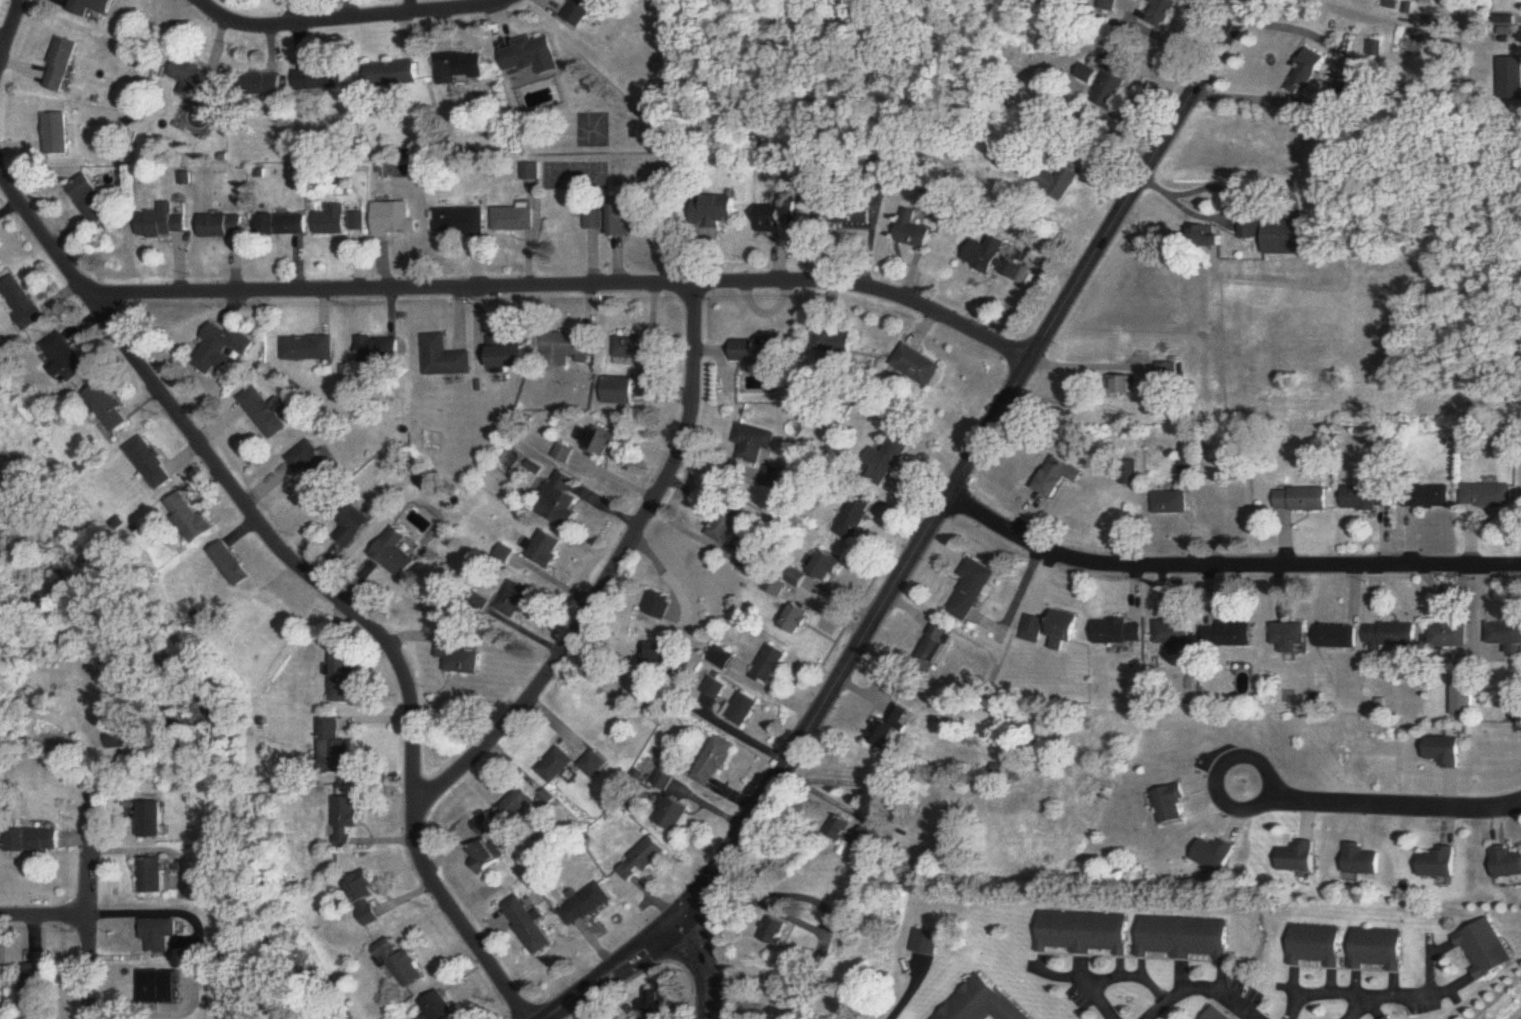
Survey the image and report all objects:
building: (1102, 4)
building: (91, 7)
building: (578, 11)
building: (1160, 12)
road: (351, 19)
road: (9, 25)
road: (1156, 49)
building: (531, 56)
building: (61, 66)
building: (460, 66)
building: (1305, 73)
building: (395, 75)
building: (1086, 75)
building: (194, 79)
building: (1511, 79)
building: (319, 80)
building: (1110, 83)
building: (260, 85)
road: (1332, 86)
building: (56, 135)
building: (1057, 183)
building: (94, 202)
building: (714, 212)
building: (776, 214)
building: (847, 214)
building: (626, 219)
building: (398, 220)
building: (516, 220)
building: (464, 222)
building: (166, 223)
building: (361, 223)
building: (335, 224)
building: (284, 226)
building: (224, 228)
building: (1253, 229)
building: (912, 232)
building: (1291, 237)
building: (1206, 238)
building: (989, 256)
road: (566, 288)
building: (20, 302)
building: (834, 345)
building: (2, 348)
building: (632, 348)
building: (223, 349)
building: (312, 349)
building: (571, 350)
building: (762, 350)
building: (382, 352)
building: (512, 355)
building: (64, 358)
building: (448, 358)
road: (1091, 361)
building: (916, 366)
building: (1169, 374)
building: (1125, 386)
building: (620, 390)
building: (106, 408)
building: (266, 413)
building: (599, 441)
building: (754, 442)
building: (887, 458)
building: (149, 464)
road: (970, 464)
building: (315, 468)
building: (1056, 478)
building: (1129, 480)
building: (1490, 496)
building: (1370, 497)
building: (1430, 497)
building: (560, 499)
building: (1230, 499)
building: (1305, 500)
building: (1172, 503)
building: (855, 517)
building: (188, 518)
building: (353, 522)
building: (726, 526)
building: (545, 549)
building: (397, 555)
building: (747, 562)
building: (231, 566)
building: (826, 568)
road: (1227, 569)
road: (609, 573)
road: (311, 580)
building: (797, 580)
road: (672, 586)
building: (973, 589)
building: (514, 601)
building: (659, 605)
building: (795, 620)
building: (1053, 629)
building: (1120, 633)
building: (1231, 636)
building: (1451, 636)
building: (1176, 637)
building: (1506, 637)
building: (1292, 638)
building: (1339, 638)
building: (1394, 638)
building: (934, 648)
building: (458, 655)
building: (659, 656)
building: (769, 665)
building: (345, 676)
building: (715, 689)
building: (1462, 697)
building: (742, 709)
building: (891, 725)
road: (739, 733)
building: (119, 739)
building: (334, 750)
building: (1444, 751)
building: (713, 762)
building: (590, 764)
building: (554, 767)
road: (1210, 768)
building: (663, 781)
building: (546, 798)
road: (1401, 798)
building: (518, 804)
building: (1169, 804)
building: (672, 814)
road: (877, 815)
building: (150, 820)
building: (346, 820)
building: (485, 828)
building: (839, 829)
building: (34, 840)
building: (864, 840)
building: (1214, 854)
building: (484, 856)
building: (1297, 858)
building: (643, 859)
building: (1362, 860)
building: (1505, 862)
building: (1439, 863)
building: (153, 875)
building: (365, 897)
building: (586, 905)
road: (767, 905)
road: (89, 909)
road: (44, 914)
road: (145, 914)
building: (528, 925)
building: (776, 931)
building: (1083, 933)
building: (161, 934)
building: (1183, 938)
building: (925, 942)
building: (1316, 946)
building: (1377, 949)
building: (1482, 949)
building: (849, 953)
building: (403, 964)
road: (707, 969)
road: (617, 973)
road: (1064, 973)
road: (1111, 974)
building: (2, 980)
building: (38, 983)
road: (1199, 984)
road: (1447, 984)
building: (163, 988)
road: (905, 991)
road: (1378, 991)
building: (976, 1002)
building: (658, 1005)
road: (1357, 1005)
building: (439, 1007)
building: (1215, 1014)
road: (1519, 1017)
building: (1388, 1018)

